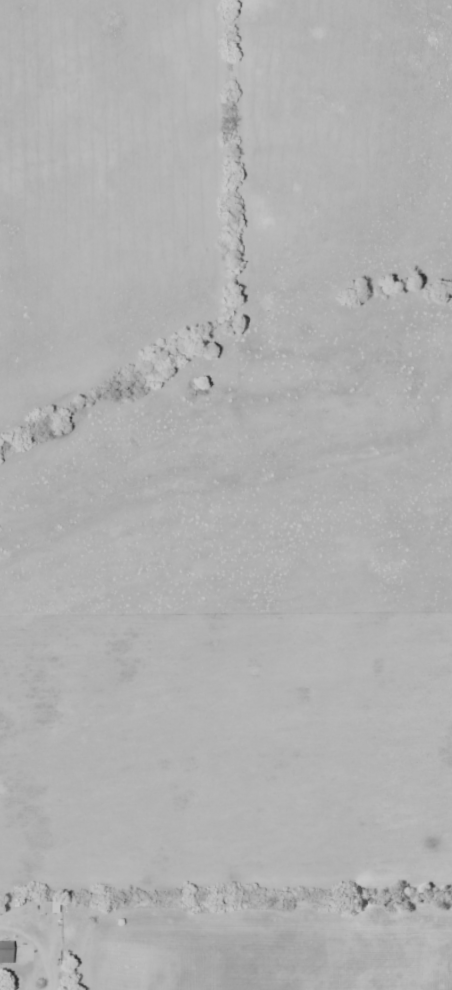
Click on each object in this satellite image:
building: (5, 952)
building: (24, 952)

